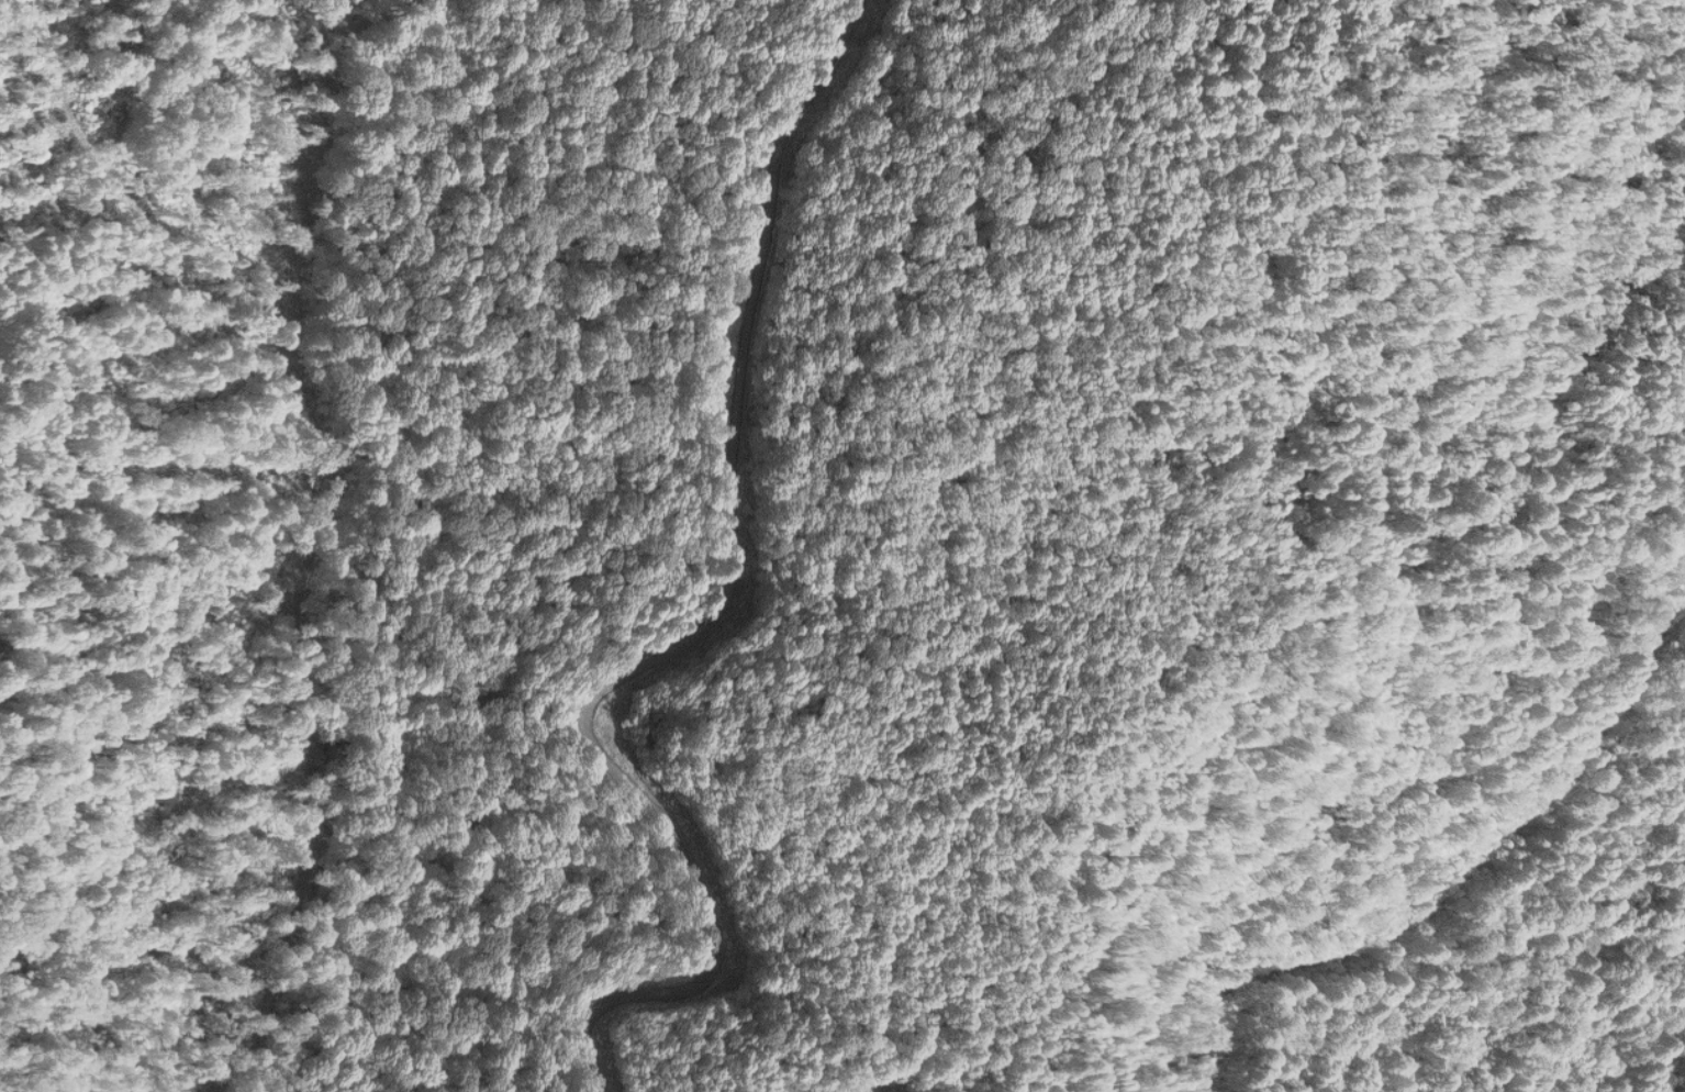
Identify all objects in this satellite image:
road: (690, 637)

